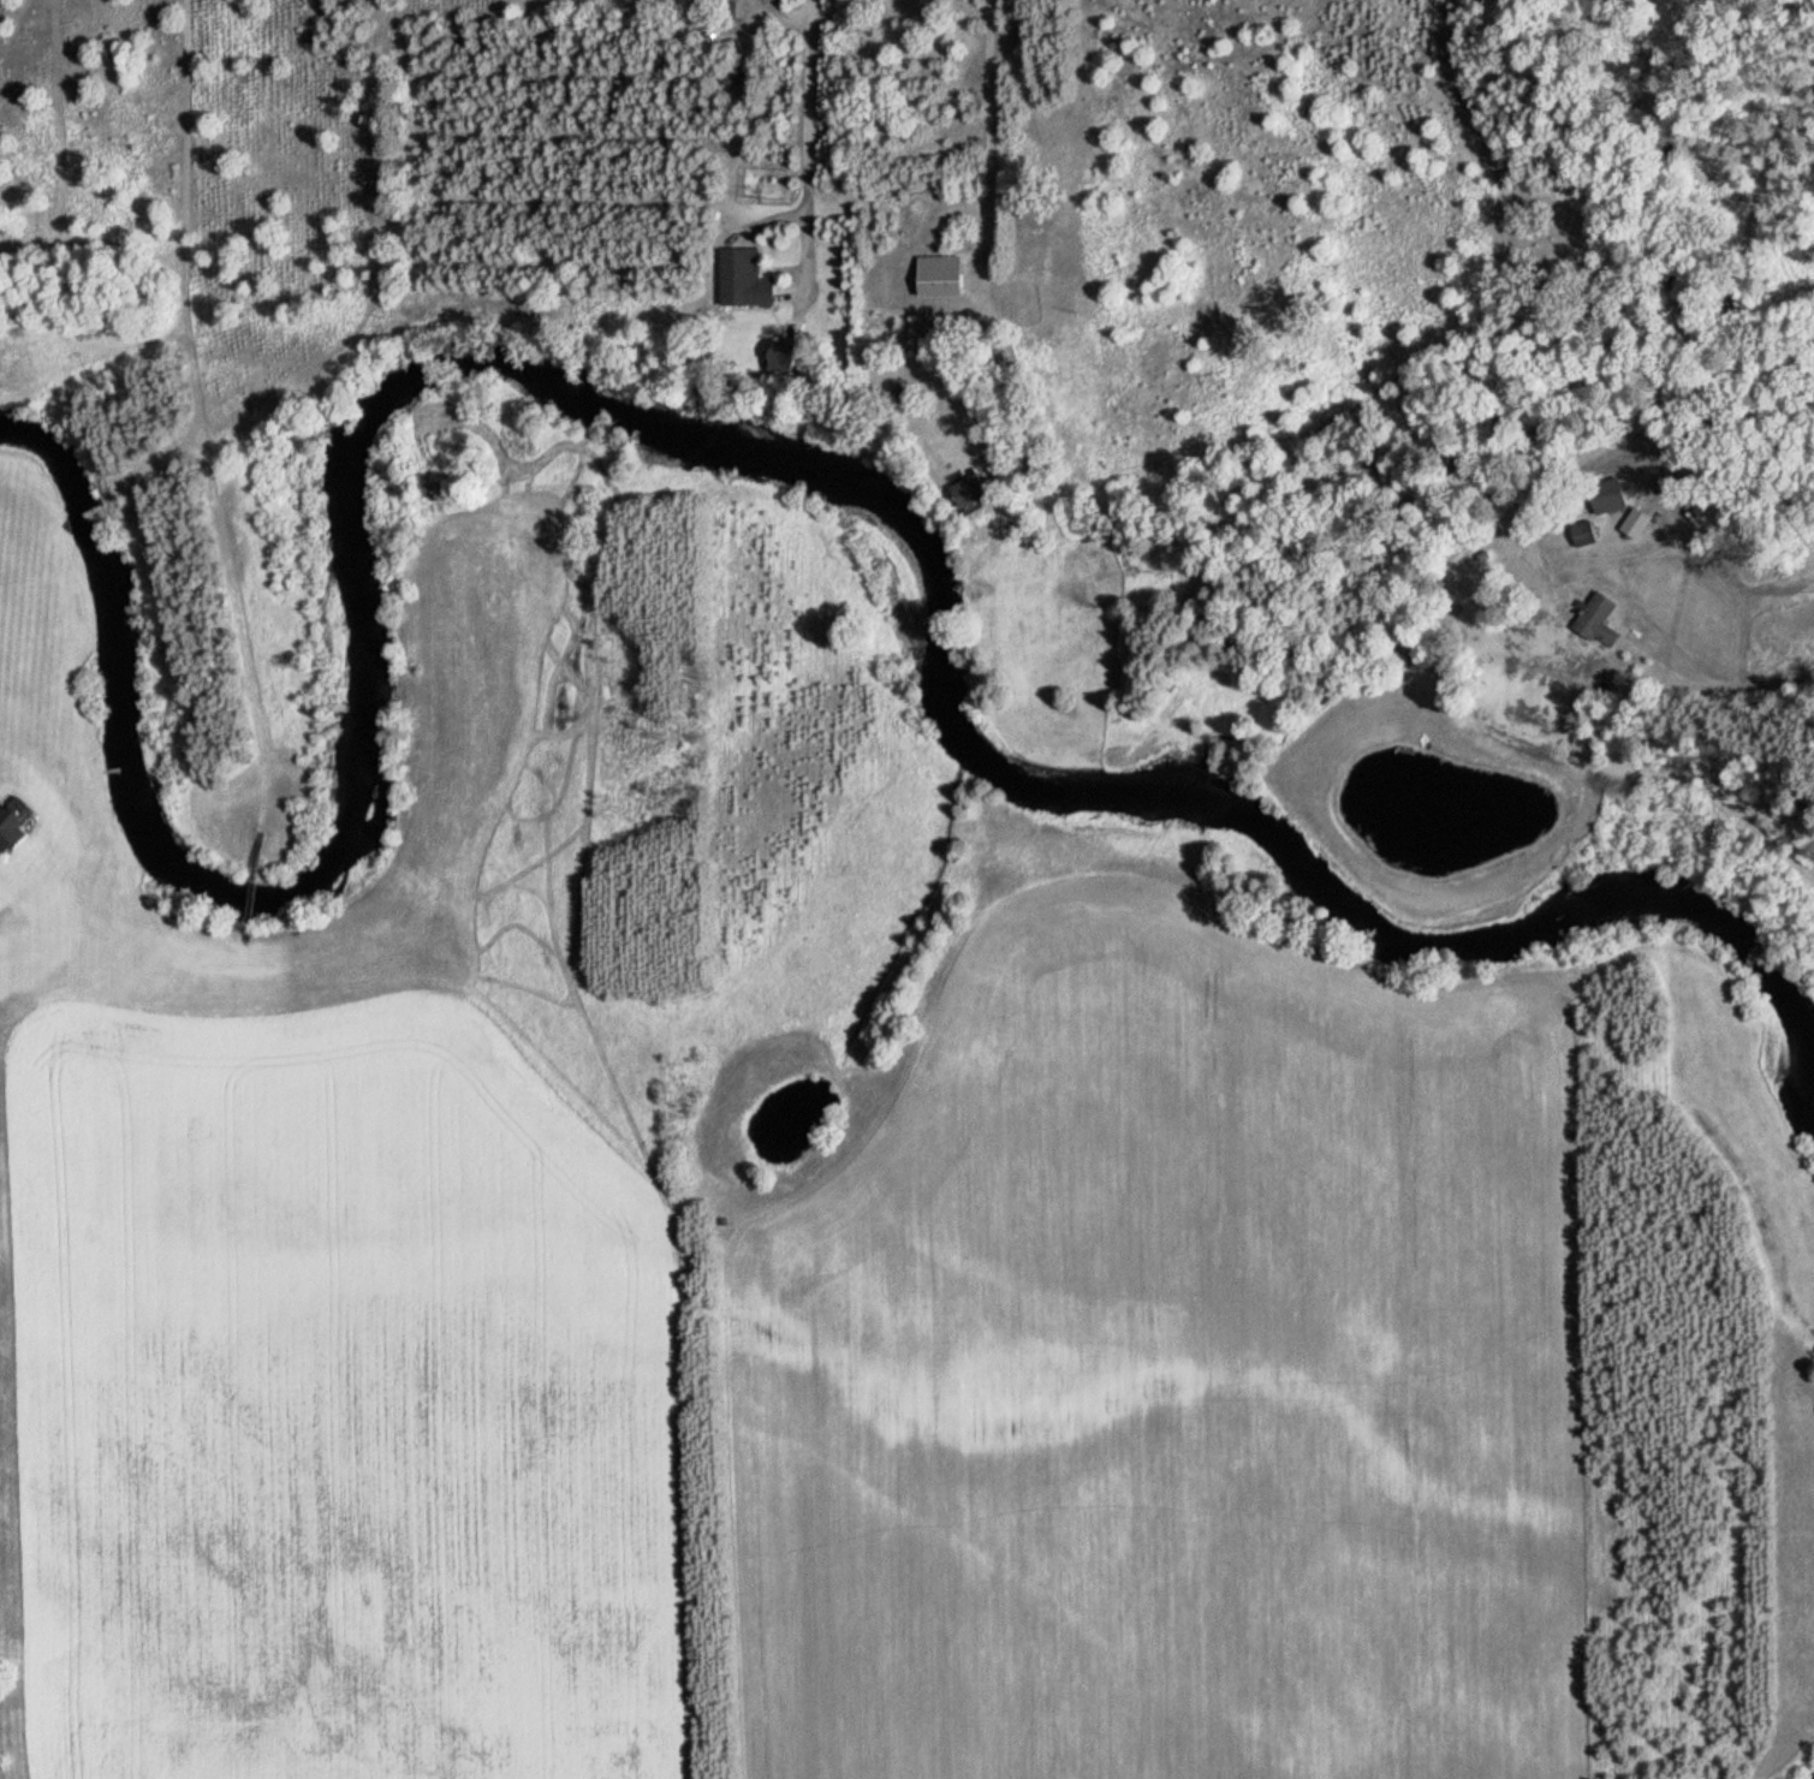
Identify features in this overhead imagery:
building: (744, 279)
river: (691, 433)
building: (968, 492)
building: (1598, 621)
building: (10, 825)

